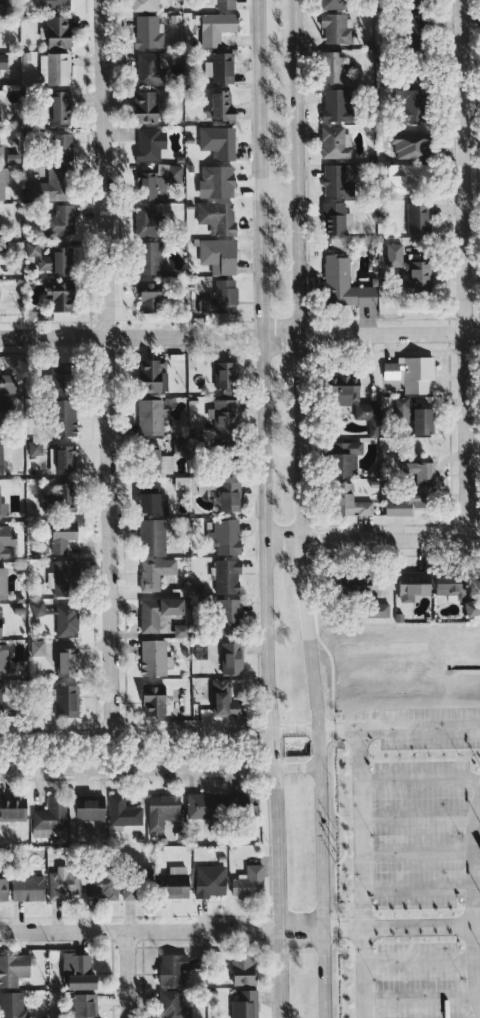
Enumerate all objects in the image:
building: (52, 4)
building: (226, 4)
building: (334, 4)
building: (3, 5)
building: (145, 5)
building: (217, 27)
building: (337, 29)
building: (60, 31)
building: (148, 32)
building: (4, 61)
building: (224, 68)
building: (334, 68)
building: (55, 69)
building: (149, 69)
building: (63, 105)
building: (223, 105)
building: (337, 105)
building: (416, 105)
building: (147, 107)
building: (0, 116)
building: (219, 141)
building: (151, 143)
building: (336, 143)
building: (64, 151)
building: (2, 153)
building: (408, 177)
building: (338, 180)
building: (4, 181)
building: (218, 182)
building: (56, 190)
building: (218, 217)
building: (337, 217)
building: (419, 217)
building: (61, 220)
building: (147, 221)
building: (220, 256)
building: (152, 258)
building: (55, 260)
building: (411, 269)
road: (463, 269)
building: (346, 285)
building: (64, 296)
building: (151, 297)
building: (222, 298)
road: (240, 335)
road: (104, 366)
building: (61, 373)
building: (412, 374)
building: (153, 375)
building: (226, 375)
building: (13, 380)
road: (261, 384)
road: (300, 385)
building: (356, 400)
building: (8, 410)
building: (225, 416)
building: (151, 417)
building: (425, 421)
building: (68, 424)
building: (347, 457)
building: (2, 460)
building: (67, 460)
building: (162, 464)
building: (420, 474)
building: (60, 496)
building: (229, 497)
building: (353, 502)
building: (155, 503)
building: (406, 504)
building: (4, 505)
building: (154, 537)
building: (227, 537)
road: (365, 538)
building: (6, 541)
building: (62, 541)
building: (156, 572)
building: (229, 577)
building: (65, 578)
building: (4, 583)
building: (416, 584)
building: (453, 586)
building: (175, 607)
building: (474, 608)
building: (38, 609)
building: (231, 612)
building: (150, 616)
building: (67, 620)
building: (1, 621)
building: (182, 631)
building: (38, 648)
building: (201, 651)
building: (154, 658)
building: (4, 659)
building: (233, 659)
building: (69, 663)
building: (5, 700)
building: (225, 700)
building: (68, 701)
building: (156, 701)
parking lot: (424, 727)
road: (399, 728)
road: (295, 729)
road: (136, 732)
road: (298, 769)
road: (138, 770)
building: (245, 804)
building: (207, 805)
building: (13, 808)
building: (162, 808)
building: (92, 809)
building: (124, 812)
building: (50, 818)
parking lot: (416, 831)
road: (361, 873)
building: (212, 880)
building: (176, 882)
building: (249, 882)
building: (65, 883)
building: (4, 887)
building: (102, 887)
building: (28, 888)
building: (137, 889)
road: (277, 893)
road: (321, 894)
road: (473, 900)
road: (397, 926)
road: (300, 928)
road: (139, 929)
building: (77, 962)
building: (14, 968)
building: (171, 969)
building: (244, 970)
road: (126, 974)
parking lot: (417, 980)
building: (83, 981)
building: (172, 1004)
building: (245, 1004)
building: (12, 1005)
building: (85, 1005)

